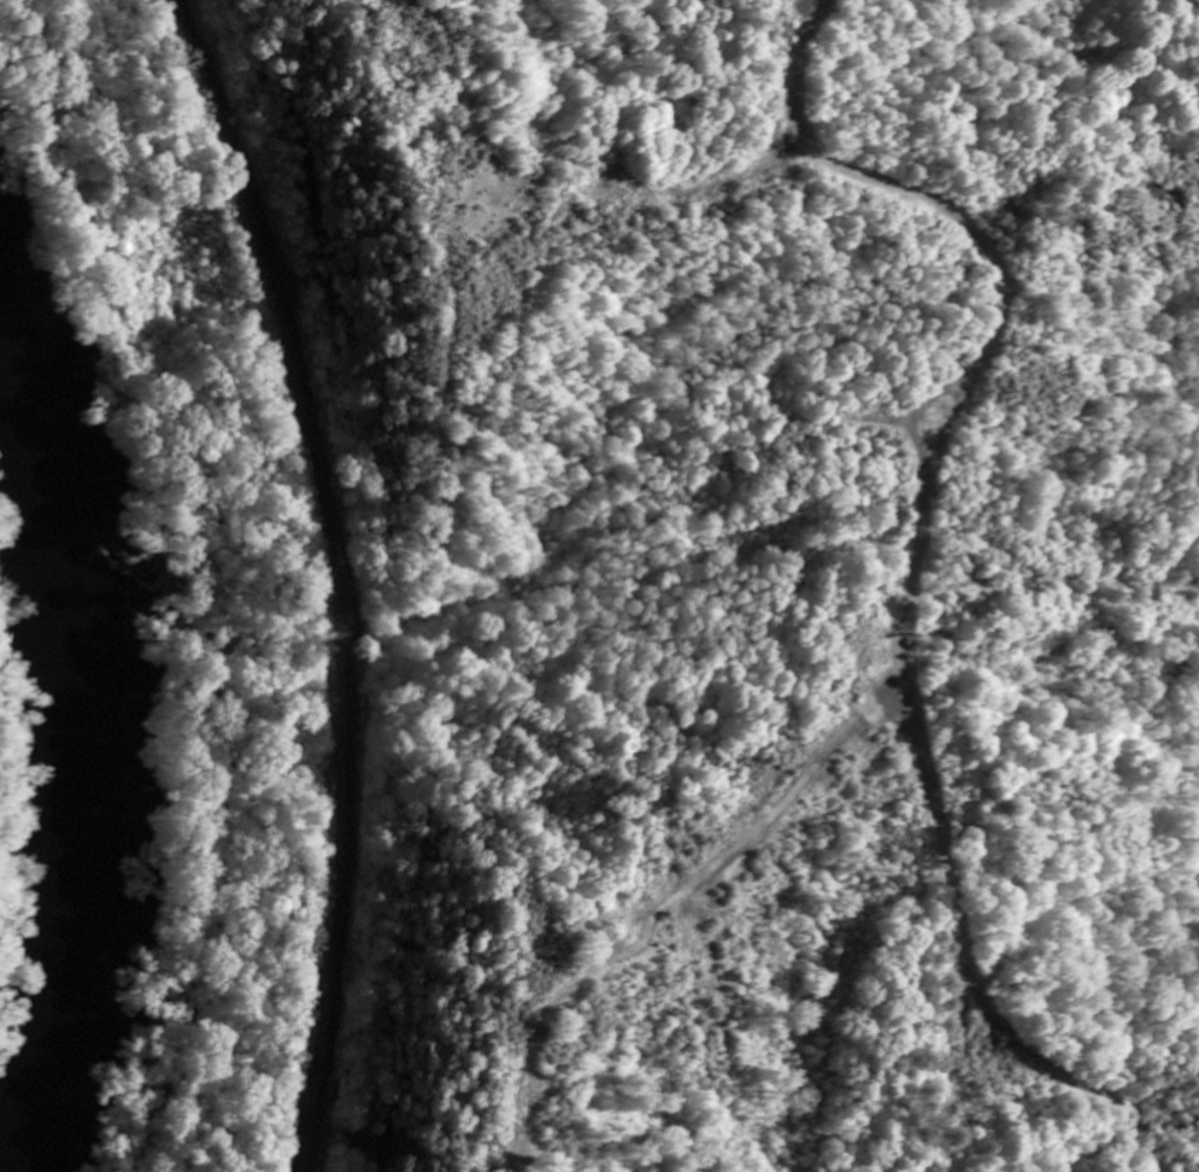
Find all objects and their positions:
road: (911, 564)
railway: (335, 576)
river: (88, 755)

